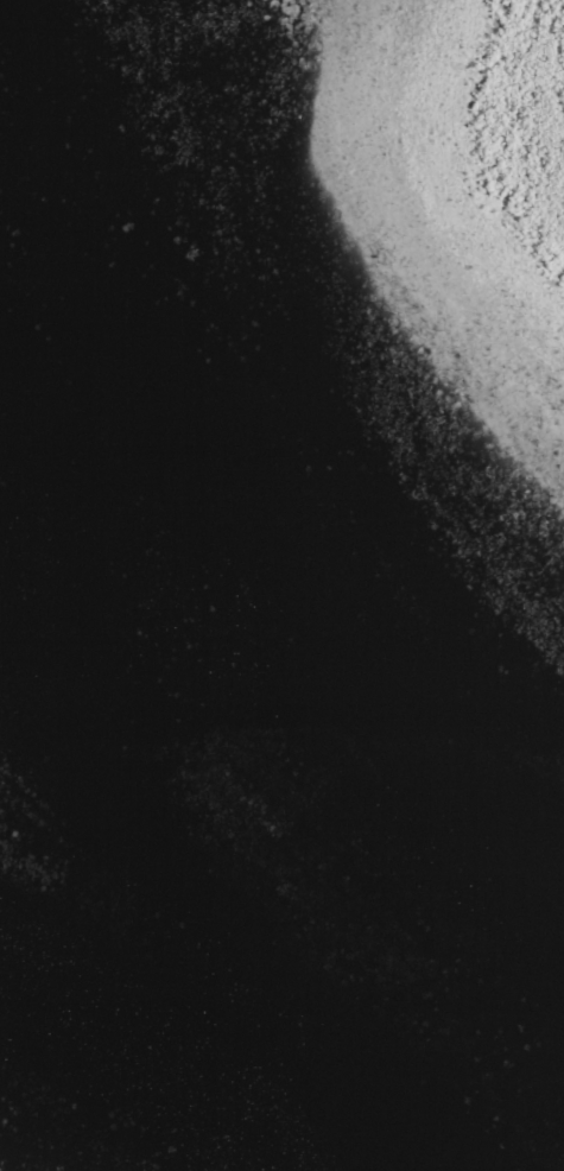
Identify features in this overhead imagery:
river: (213, 1066)

